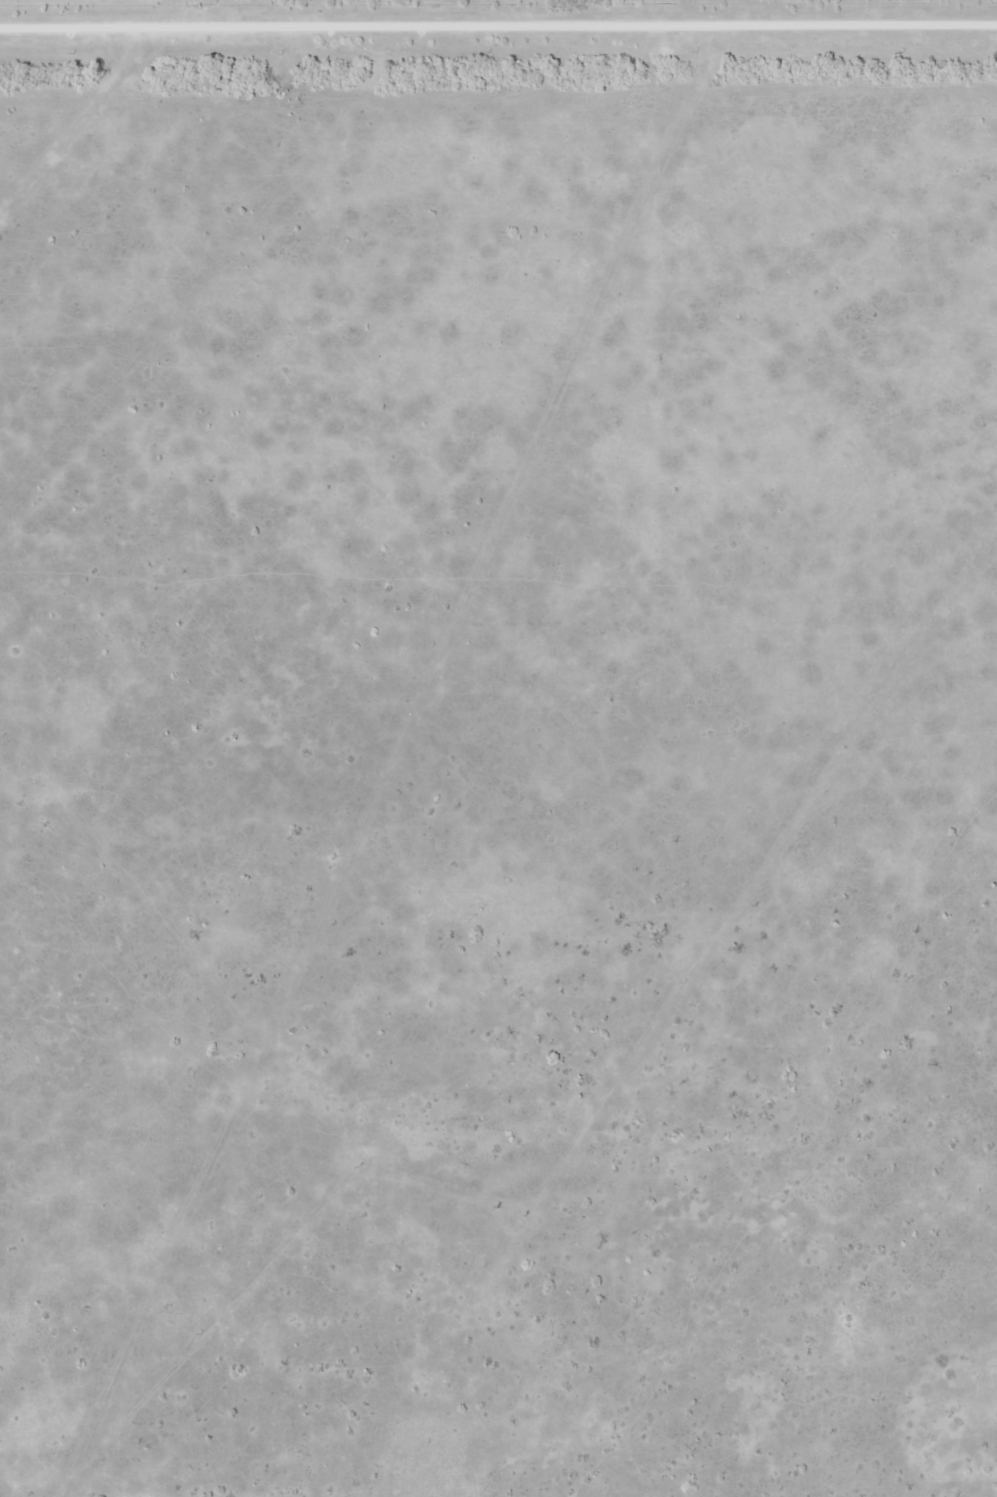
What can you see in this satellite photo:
road: (498, 29)

